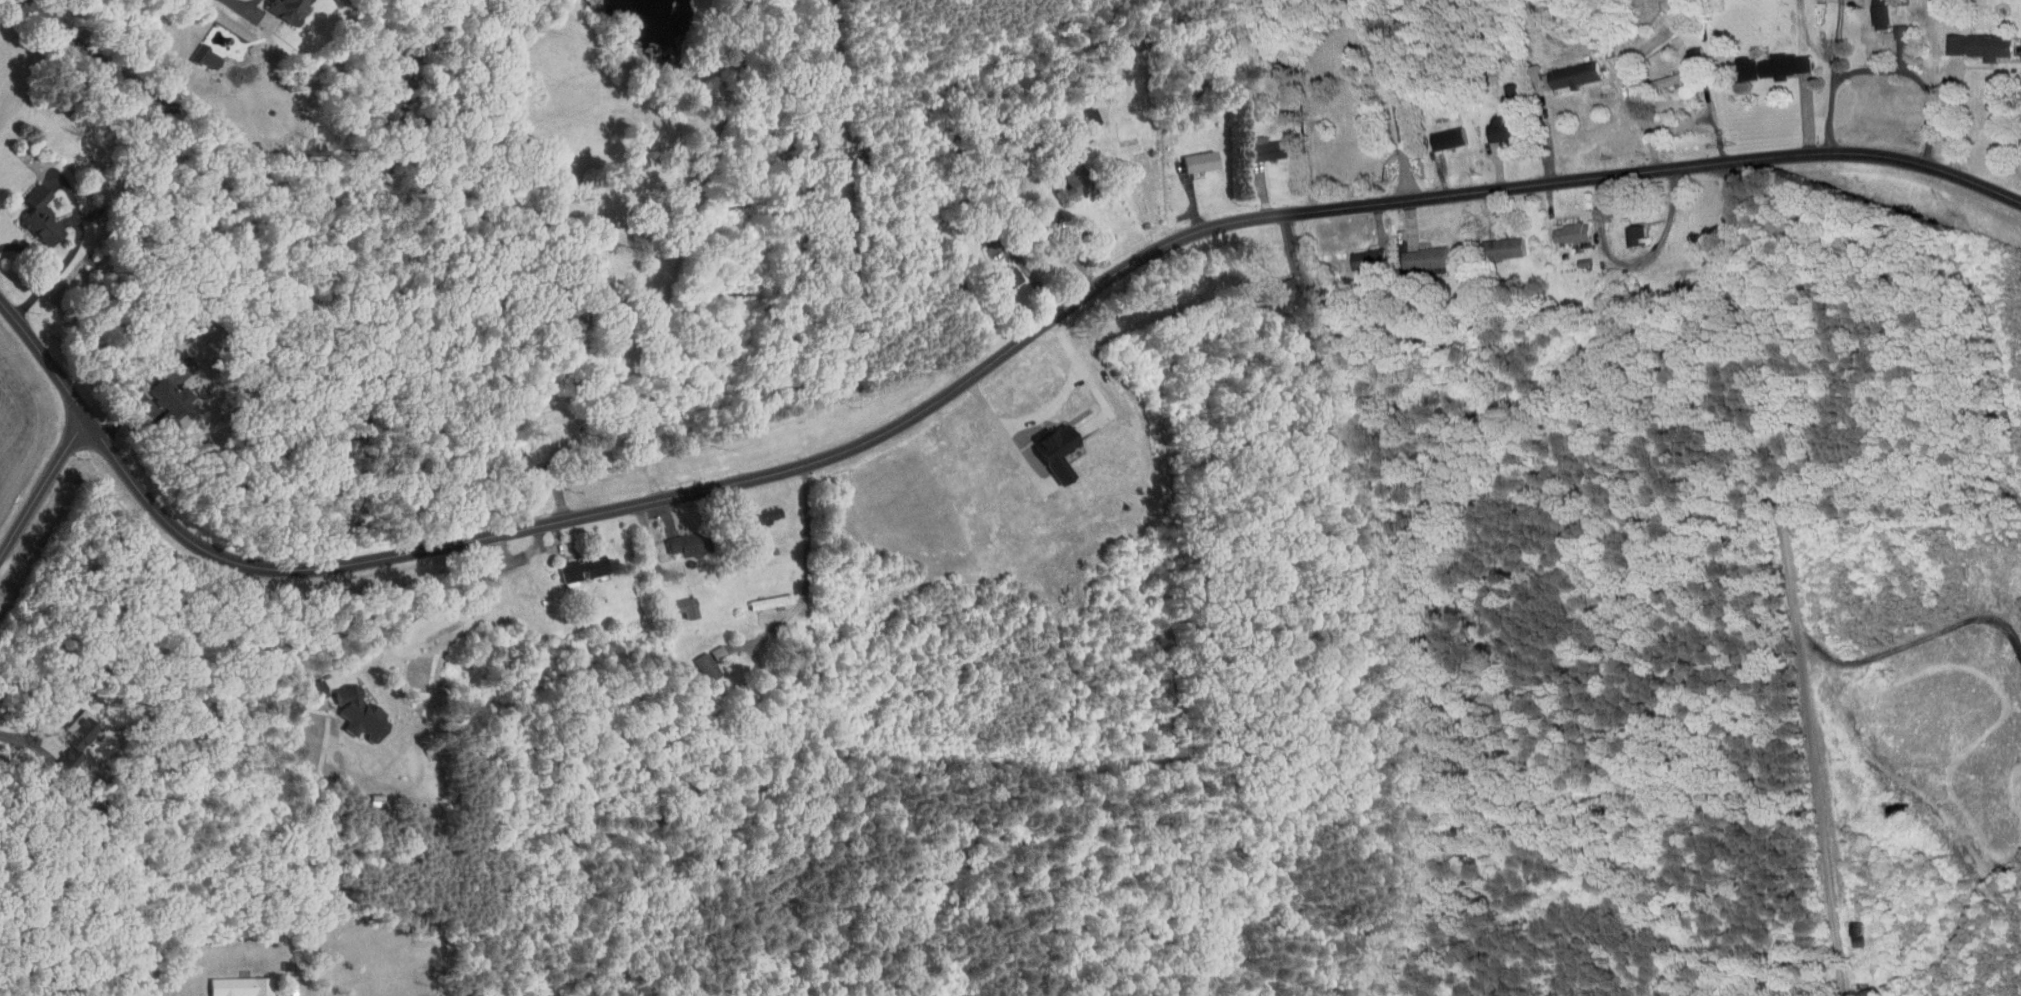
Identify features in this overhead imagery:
road: (247, 2)
building: (278, 7)
building: (1870, 11)
building: (1890, 25)
building: (1972, 38)
building: (196, 51)
building: (1765, 60)
building: (1565, 69)
building: (1660, 74)
road: (1819, 74)
road: (1902, 74)
road: (1627, 75)
building: (1502, 86)
road: (1391, 97)
building: (1083, 111)
road: (1953, 120)
building: (1492, 124)
building: (1438, 132)
building: (1257, 143)
building: (1191, 155)
building: (1064, 177)
building: (31, 211)
building: (1564, 226)
building: (1630, 229)
building: (1494, 242)
road: (1073, 244)
road: (684, 245)
building: (1415, 252)
building: (1359, 253)
road: (1633, 259)
road: (40, 271)
building: (998, 273)
building: (1267, 286)
road: (240, 346)
road: (964, 380)
building: (160, 395)
road: (1048, 409)
building: (1048, 446)
road: (43, 486)
building: (754, 510)
building: (674, 539)
building: (573, 564)
road: (809, 574)
road: (1791, 576)
building: (674, 602)
road: (435, 605)
road: (1916, 639)
building: (697, 661)
building: (350, 708)
building: (70, 725)
road: (24, 741)
building: (59, 754)
building: (230, 982)

